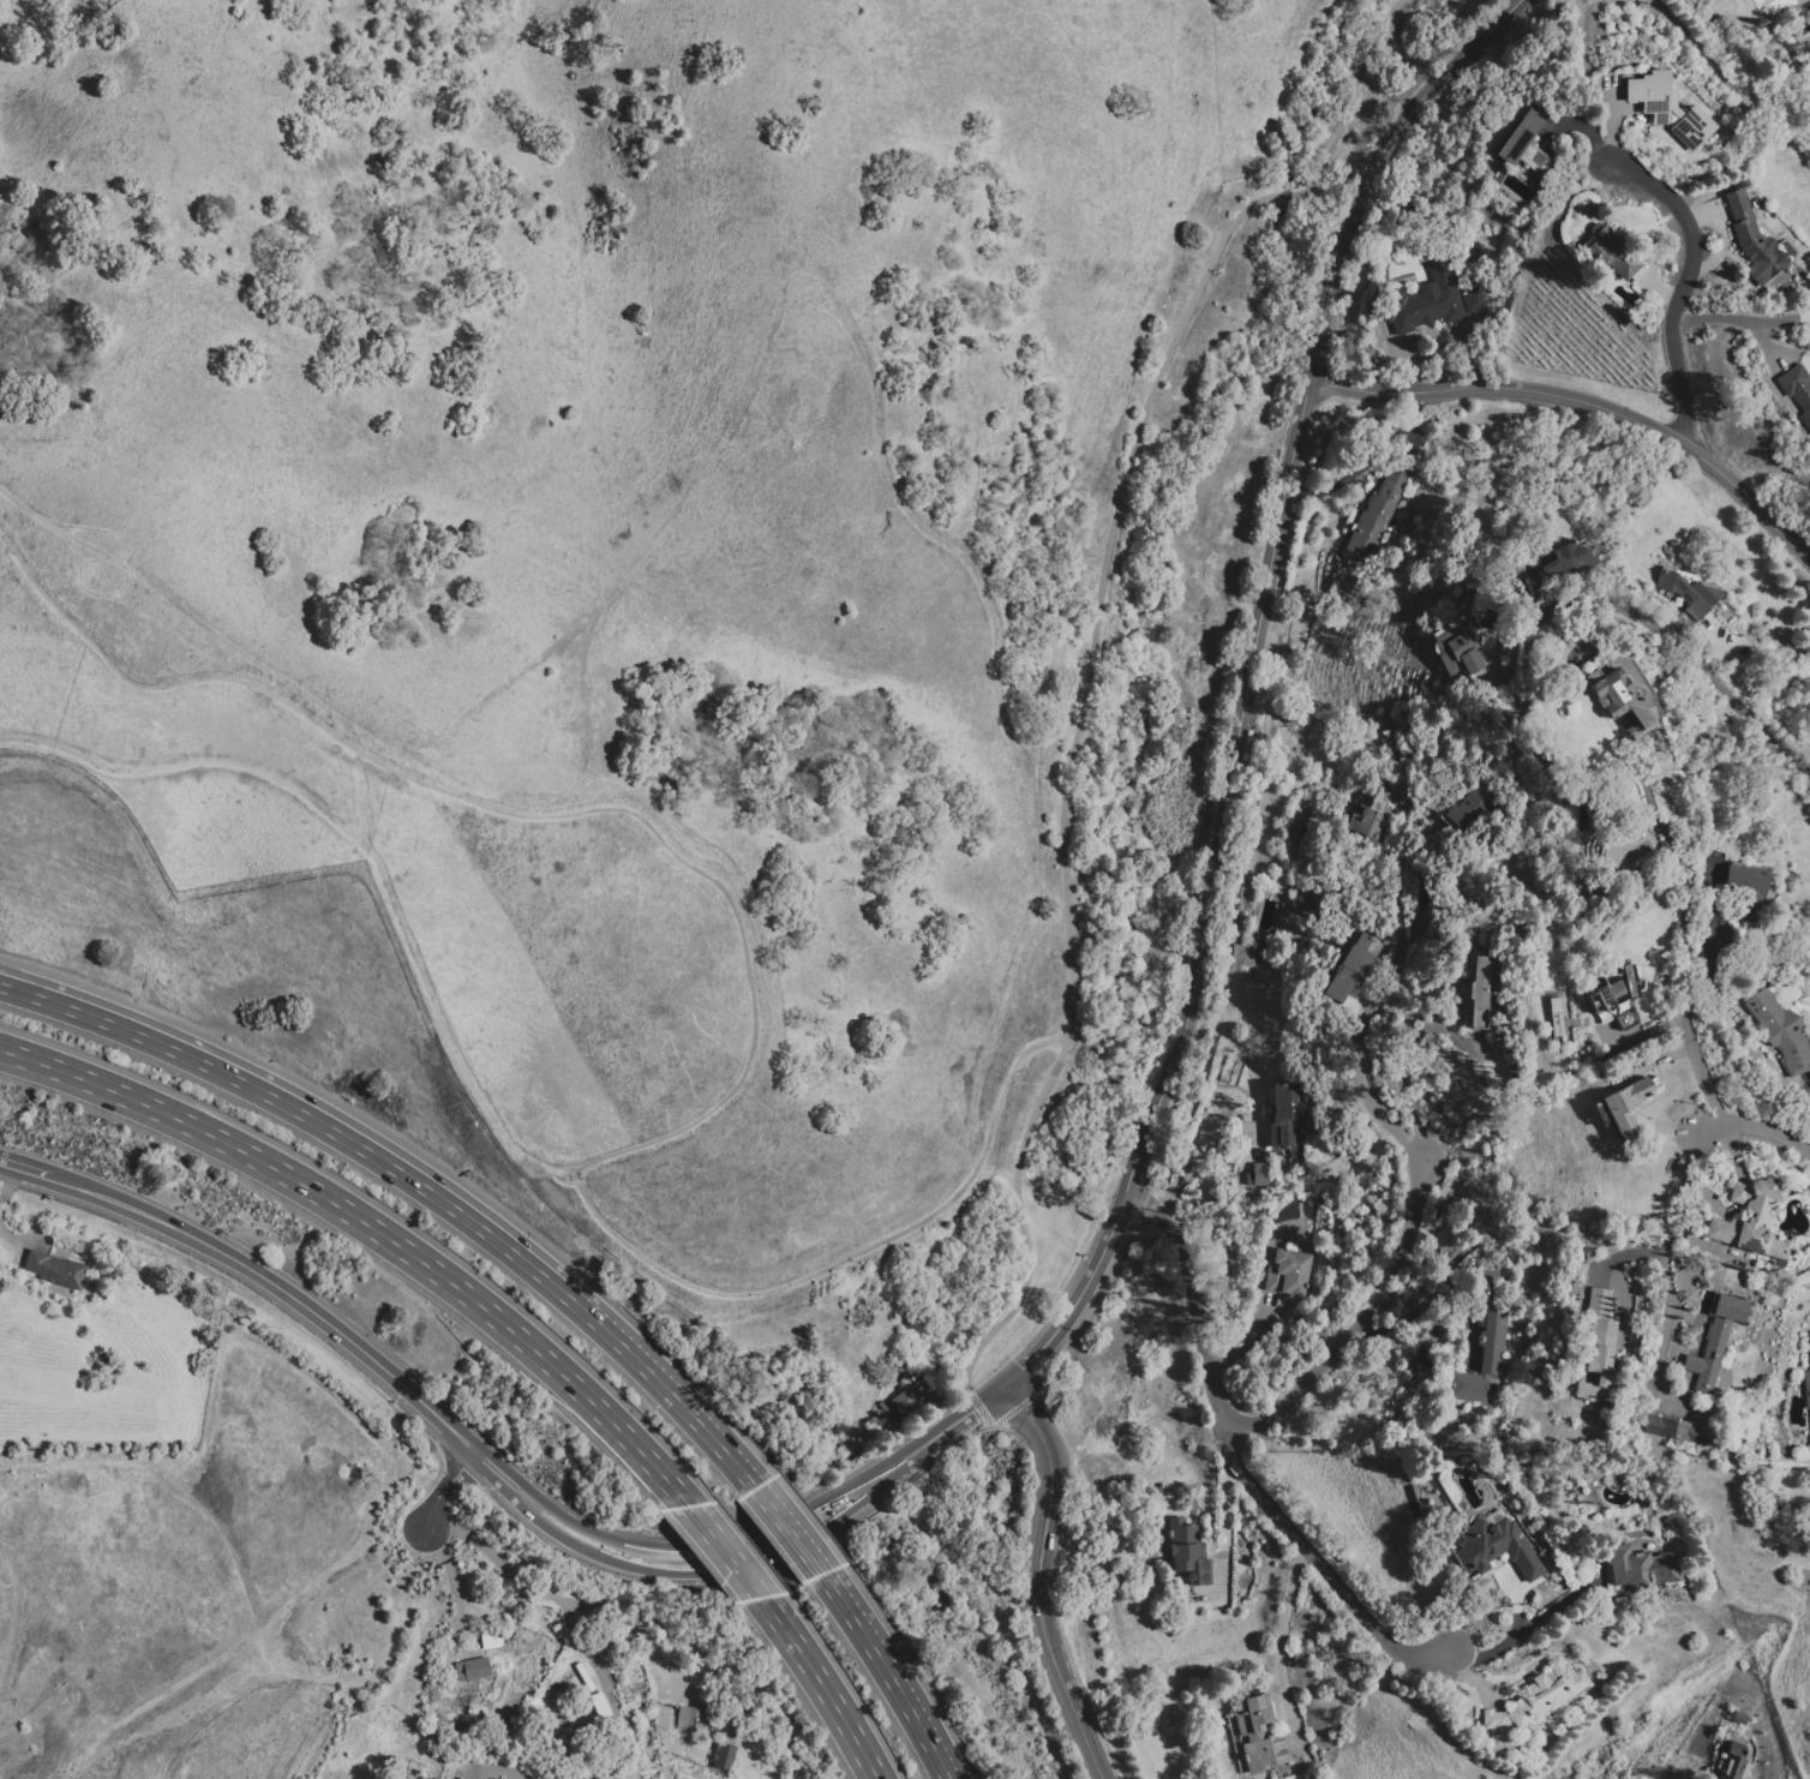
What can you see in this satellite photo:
road: (1398, 22)
building: (1667, 107)
building: (1526, 143)
road: (1325, 214)
building: (1754, 239)
building: (1611, 252)
road: (1683, 287)
building: (1425, 303)
road: (1742, 319)
road: (1763, 345)
building: (1797, 390)
road: (1583, 402)
building: (1376, 516)
building: (1559, 568)
building: (1689, 592)
parking lot: (1210, 598)
building: (1458, 652)
road: (1685, 654)
road: (1089, 660)
road: (1252, 681)
building: (1623, 691)
building: (1467, 807)
building: (1372, 811)
road: (1401, 871)
building: (1746, 888)
building: (1350, 968)
building: (1628, 978)
road: (749, 987)
building: (1480, 990)
building: (1607, 993)
road: (1684, 996)
road: (1370, 1012)
building: (1556, 1017)
building: (1625, 1019)
building: (1780, 1030)
road: (1402, 1062)
building: (1626, 1103)
road: (295, 1112)
building: (1285, 1114)
road: (1754, 1127)
road: (1198, 1157)
road: (24, 1168)
building: (1258, 1174)
road: (1685, 1193)
building: (1754, 1220)
road: (378, 1232)
road: (1666, 1262)
building: (54, 1270)
building: (1288, 1272)
road: (294, 1298)
road: (1189, 1306)
road: (1357, 1326)
building: (1482, 1341)
building: (1715, 1341)
building: (1809, 1344)
building: (1598, 1346)
road: (1659, 1355)
building: (1806, 1388)
road: (664, 1389)
building: (912, 1396)
road: (978, 1407)
road: (1014, 1408)
road: (957, 1420)
building: (1674, 1430)
road: (445, 1486)
road: (791, 1533)
building: (1497, 1549)
road: (706, 1550)
building: (1183, 1551)
road: (731, 1555)
road: (1323, 1565)
building: (1640, 1565)
road: (706, 1569)
road: (1037, 1580)
road: (545, 1594)
road: (1019, 1594)
road: (454, 1603)
road: (1528, 1624)
road: (1279, 1637)
building: (492, 1639)
building: (472, 1669)
road: (888, 1675)
road: (825, 1688)
building: (1547, 1694)
building: (687, 1719)
building: (1493, 1720)
building: (1737, 1720)
building: (1260, 1735)
building: (723, 1756)
building: (1736, 1759)
building: (491, 1778)

